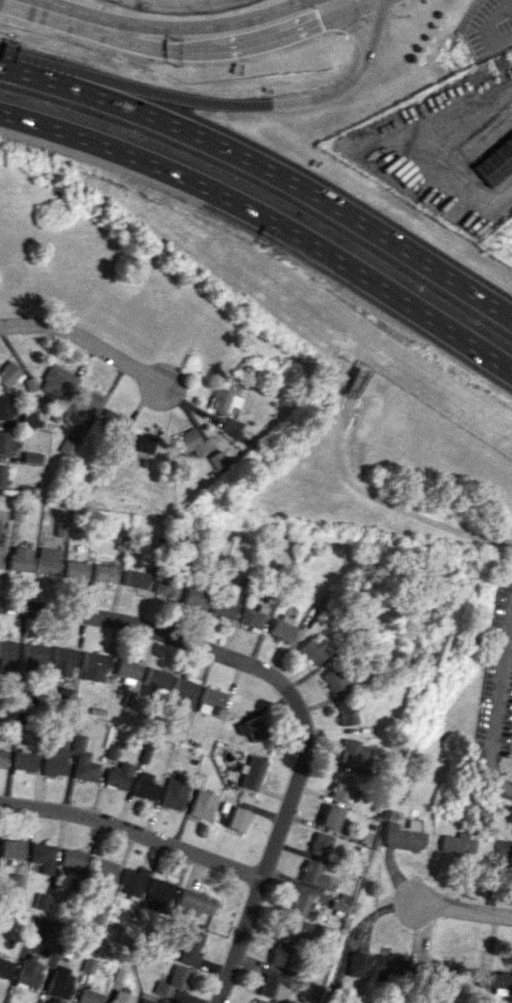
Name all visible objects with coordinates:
parking lot: (179, 5)
road: (336, 8)
road: (52, 11)
traffic signals: (320, 23)
road: (197, 26)
road: (488, 27)
parking lot: (488, 28)
road: (358, 32)
road: (235, 48)
airport: (287, 48)
road: (13, 70)
road: (234, 103)
road: (439, 159)
building: (496, 161)
road: (279, 175)
road: (266, 219)
road: (86, 339)
building: (8, 374)
building: (58, 380)
building: (223, 400)
building: (84, 402)
building: (5, 408)
building: (27, 417)
building: (113, 419)
building: (142, 441)
building: (6, 442)
building: (188, 442)
building: (31, 457)
building: (218, 459)
building: (3, 475)
road: (385, 505)
building: (60, 528)
building: (0, 548)
building: (19, 559)
building: (46, 561)
building: (74, 569)
building: (103, 573)
building: (134, 578)
building: (165, 587)
building: (194, 597)
building: (224, 603)
building: (250, 618)
road: (153, 628)
building: (280, 628)
building: (311, 649)
building: (33, 655)
building: (7, 658)
building: (61, 662)
building: (92, 666)
building: (127, 668)
building: (155, 677)
building: (334, 680)
building: (184, 687)
road: (493, 695)
building: (127, 698)
building: (209, 700)
building: (343, 712)
building: (249, 728)
building: (110, 751)
building: (350, 751)
building: (2, 757)
building: (23, 760)
building: (82, 760)
building: (53, 761)
building: (249, 772)
building: (117, 775)
building: (143, 786)
building: (338, 788)
building: (173, 794)
building: (201, 804)
building: (327, 816)
building: (233, 818)
road: (133, 831)
building: (400, 835)
building: (456, 843)
building: (318, 844)
building: (11, 849)
road: (271, 849)
building: (504, 850)
building: (42, 855)
building: (72, 862)
building: (102, 872)
building: (311, 873)
building: (131, 881)
building: (157, 894)
building: (41, 901)
building: (194, 901)
building: (297, 902)
road: (463, 910)
building: (95, 915)
building: (39, 926)
building: (291, 928)
building: (185, 946)
building: (279, 955)
building: (371, 965)
building: (4, 968)
building: (440, 969)
building: (28, 972)
building: (494, 979)
building: (172, 981)
building: (59, 982)
building: (271, 987)
building: (88, 995)
building: (120, 997)
building: (143, 1001)
building: (258, 1001)

